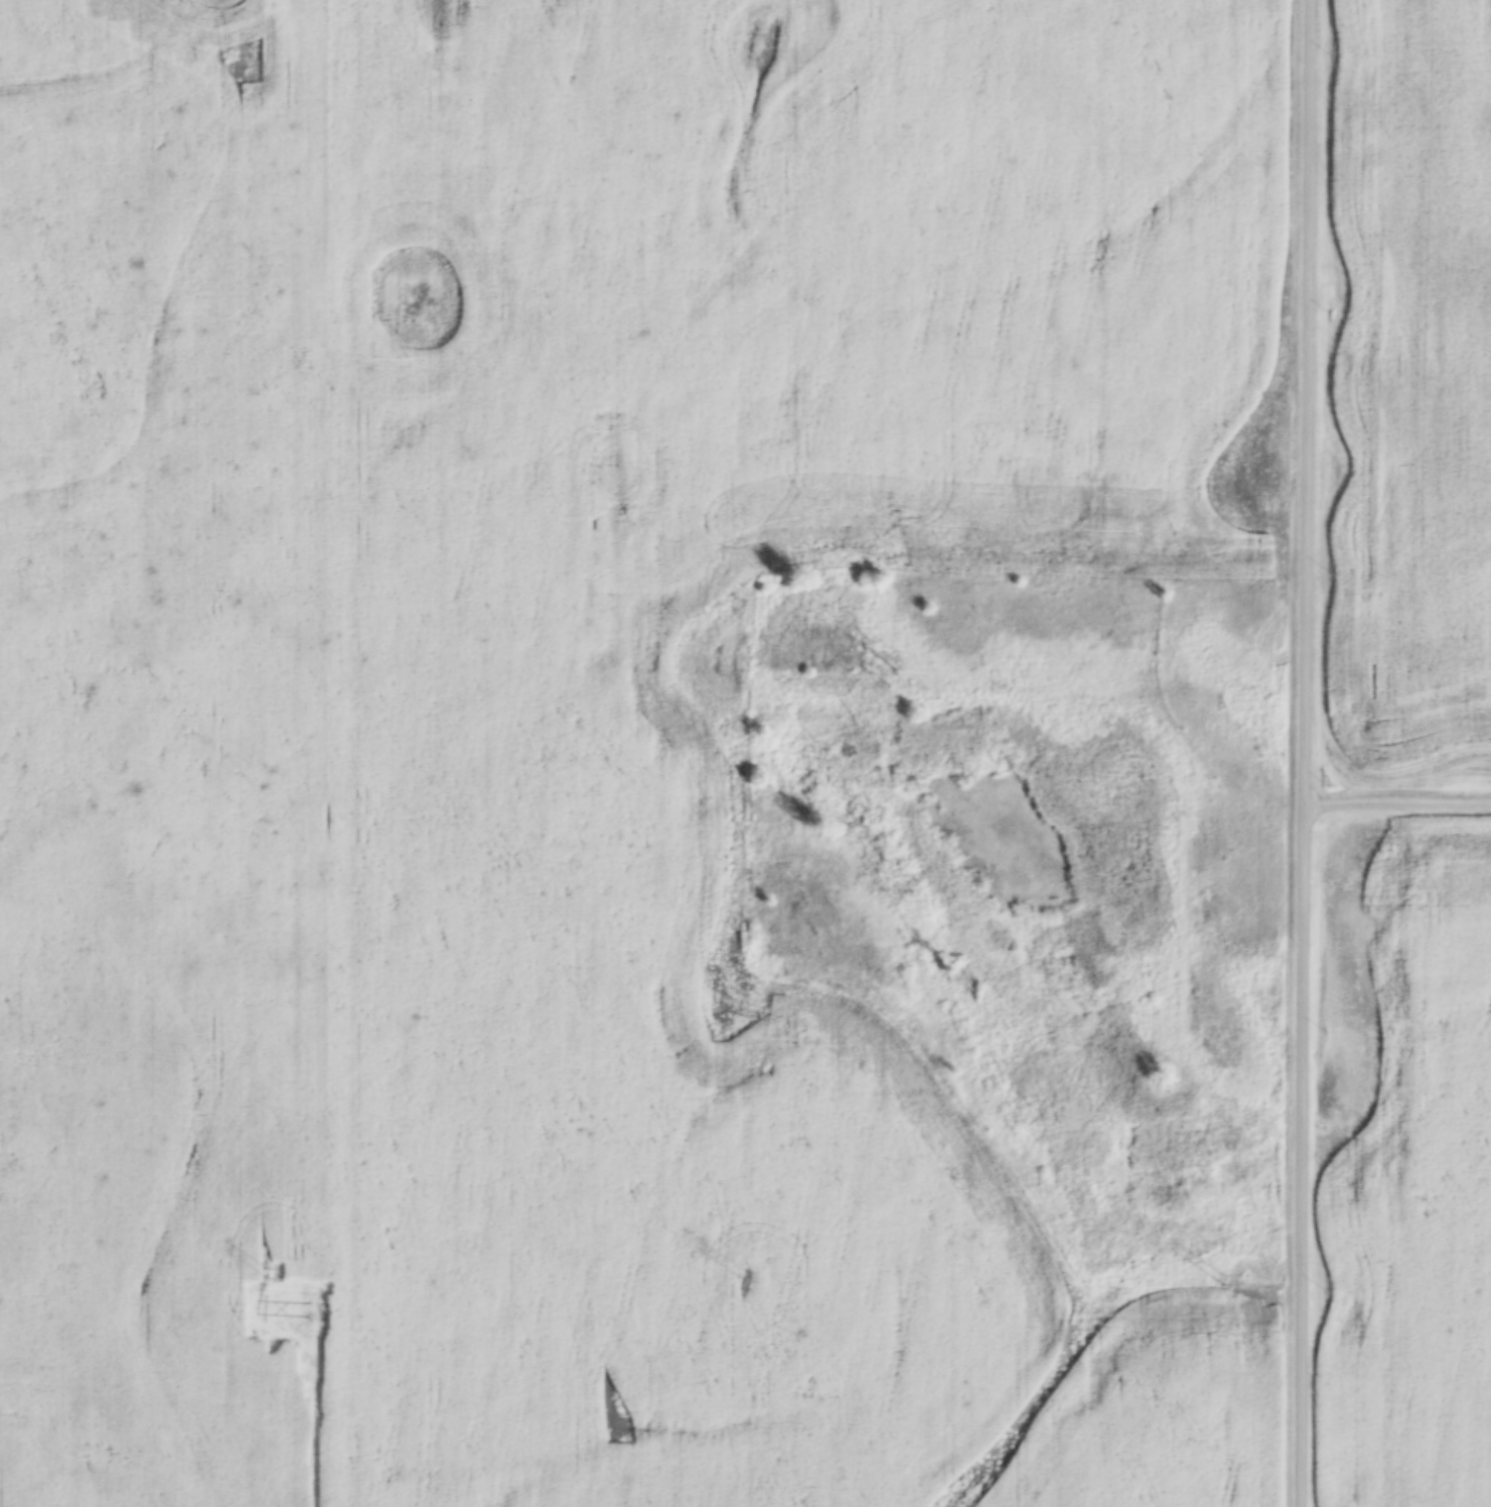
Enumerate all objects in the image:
road: (1305, 753)
road: (1398, 807)
power tower: (261, 1272)
power tower: (743, 1276)
power tower: (1219, 1278)

